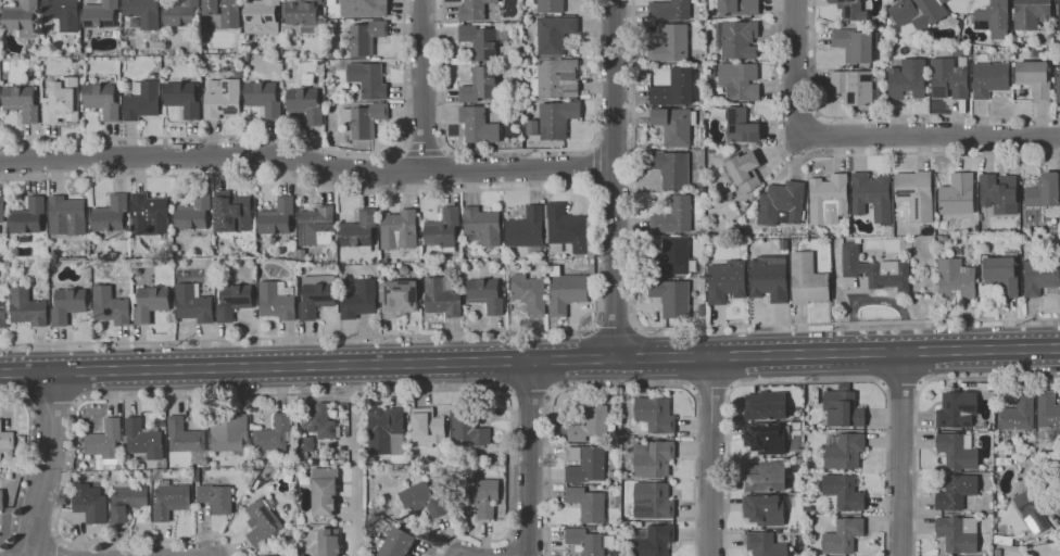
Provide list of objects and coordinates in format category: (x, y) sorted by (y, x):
building: (551, 7)
building: (736, 7)
building: (365, 8)
building: (474, 10)
building: (670, 10)
building: (851, 10)
building: (224, 11)
building: (918, 12)
building: (142, 13)
building: (181, 13)
building: (1031, 13)
building: (1059, 13)
building: (62, 14)
building: (100, 14)
building: (261, 16)
building: (300, 16)
building: (22, 18)
building: (702, 18)
building: (994, 18)
building: (554, 34)
building: (366, 37)
building: (737, 39)
building: (481, 41)
building: (856, 43)
building: (670, 45)
building: (247, 56)
building: (701, 66)
road: (795, 68)
building: (711, 69)
building: (1036, 76)
building: (949, 77)
building: (316, 78)
building: (556, 78)
building: (989, 78)
building: (368, 79)
building: (908, 79)
building: (740, 80)
building: (480, 85)
road: (425, 86)
building: (1058, 86)
building: (854, 87)
building: (674, 88)
building: (222, 98)
building: (184, 99)
building: (264, 99)
building: (61, 100)
building: (102, 100)
building: (142, 100)
building: (702, 101)
building: (22, 102)
building: (305, 104)
road: (881, 116)
building: (364, 118)
building: (557, 119)
building: (478, 125)
building: (674, 125)
building: (742, 126)
building: (532, 128)
road: (927, 135)
road: (276, 139)
road: (593, 146)
road: (403, 149)
road: (445, 149)
road: (518, 149)
building: (746, 149)
road: (424, 151)
road: (841, 154)
road: (306, 162)
road: (596, 166)
building: (671, 168)
building: (744, 170)
road: (614, 179)
road: (594, 189)
building: (1045, 191)
building: (999, 193)
building: (916, 194)
building: (957, 194)
building: (871, 195)
building: (829, 199)
building: (781, 203)
building: (1, 210)
building: (193, 212)
building: (111, 214)
building: (232, 214)
building: (150, 215)
building: (66, 216)
building: (673, 216)
building: (28, 217)
building: (277, 217)
building: (980, 217)
building: (315, 224)
building: (482, 226)
building: (567, 229)
building: (924, 229)
building: (359, 230)
building: (399, 230)
building: (443, 230)
building: (527, 230)
building: (943, 239)
building: (784, 244)
building: (261, 245)
building: (301, 254)
road: (596, 258)
building: (673, 258)
building: (169, 261)
building: (177, 261)
building: (459, 266)
building: (543, 268)
building: (404, 270)
building: (875, 270)
building: (1002, 274)
building: (381, 275)
building: (419, 275)
building: (1042, 277)
building: (769, 278)
building: (808, 279)
building: (956, 279)
building: (727, 281)
building: (566, 291)
building: (529, 293)
building: (485, 294)
building: (316, 295)
building: (442, 296)
building: (674, 296)
building: (400, 299)
building: (359, 300)
building: (234, 301)
building: (277, 301)
building: (151, 303)
building: (193, 303)
building: (67, 305)
building: (110, 305)
building: (27, 307)
building: (3, 314)
building: (704, 321)
road: (616, 326)
road: (685, 327)
road: (530, 361)
road: (808, 382)
road: (623, 388)
building: (843, 388)
road: (711, 389)
road: (900, 390)
road: (530, 392)
road: (241, 397)
road: (916, 397)
road: (52, 405)
building: (766, 406)
building: (843, 409)
building: (957, 409)
building: (1048, 410)
building: (1018, 414)
building: (655, 415)
building: (319, 420)
building: (162, 422)
building: (589, 424)
building: (427, 426)
building: (468, 427)
building: (229, 431)
building: (387, 431)
building: (275, 434)
building: (185, 437)
building: (767, 438)
building: (5, 440)
building: (143, 440)
building: (104, 441)
building: (305, 444)
building: (844, 451)
building: (957, 451)
road: (901, 454)
road: (711, 455)
road: (530, 458)
building: (654, 458)
road: (355, 459)
building: (442, 462)
road: (25, 464)
road: (50, 464)
building: (585, 464)
building: (9, 476)
building: (624, 476)
building: (766, 476)
building: (304, 480)
building: (149, 481)
building: (325, 491)
building: (843, 492)
building: (956, 492)
building: (212, 495)
building: (478, 495)
building: (2, 500)
building: (127, 500)
building: (169, 500)
building: (421, 501)
building: (653, 501)
building: (615, 502)
building: (90, 503)
building: (588, 504)
building: (807, 508)
building: (767, 509)
building: (1032, 509)
building: (623, 515)
building: (301, 519)
building: (262, 520)
building: (330, 521)
building: (778, 531)
road: (528, 532)
building: (958, 534)
road: (35, 536)
building: (843, 536)
building: (585, 541)
building: (653, 541)
building: (329, 542)
building: (397, 543)
building: (765, 544)
road: (58, 547)
building: (614, 554)
building: (264, 555)

